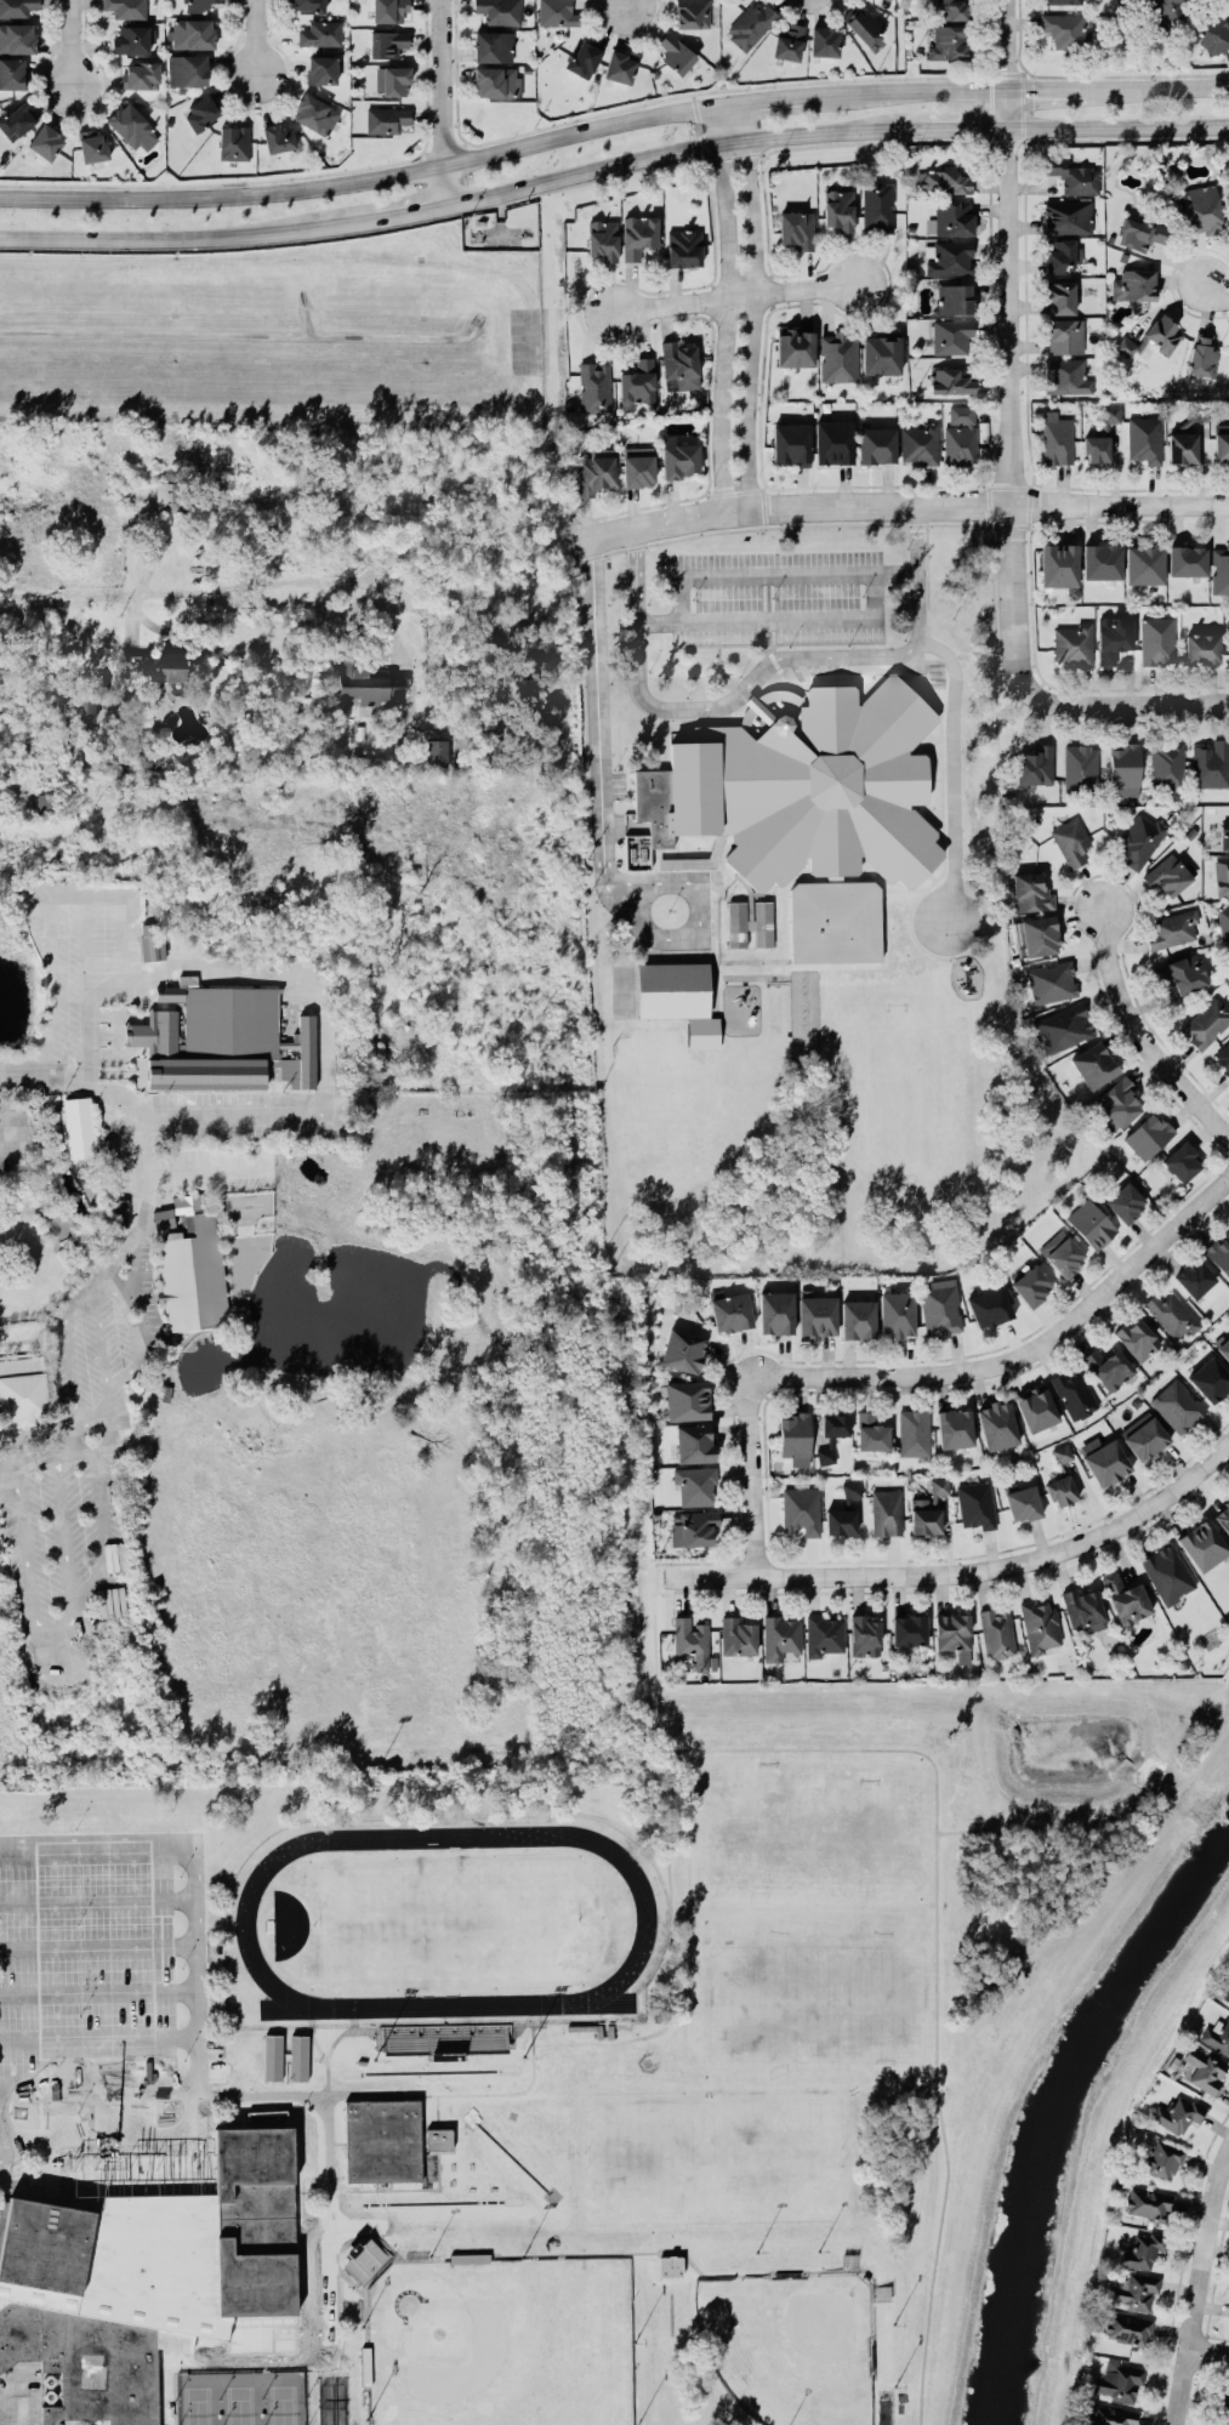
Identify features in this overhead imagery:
building: (1060, 1)
road: (624, 2)
building: (198, 5)
building: (307, 6)
building: (17, 7)
building: (126, 7)
building: (389, 10)
building: (951, 10)
building: (1167, 10)
building: (500, 11)
building: (557, 13)
building: (692, 13)
building: (750, 24)
building: (865, 24)
building: (1066, 29)
building: (320, 33)
building: (1213, 33)
building: (192, 34)
road: (256, 35)
building: (17, 38)
building: (131, 39)
road: (69, 40)
building: (787, 41)
building: (824, 41)
building: (948, 41)
building: (387, 42)
building: (493, 46)
building: (676, 53)
building: (584, 58)
building: (620, 67)
building: (187, 69)
building: (322, 69)
building: (11, 73)
building: (141, 74)
building: (392, 80)
building: (496, 81)
road: (1157, 85)
road: (1049, 87)
road: (912, 91)
road: (768, 99)
road: (439, 102)
building: (200, 113)
building: (315, 114)
building: (387, 119)
building: (16, 121)
building: (129, 124)
road: (728, 124)
road: (1120, 126)
road: (966, 129)
building: (279, 137)
building: (46, 141)
building: (234, 142)
building: (92, 144)
building: (1072, 175)
road: (365, 177)
building: (941, 180)
road: (462, 198)
building: (878, 206)
building: (1201, 207)
building: (838, 210)
building: (1066, 215)
building: (950, 217)
building: (796, 229)
building: (1140, 233)
building: (638, 235)
building: (603, 239)
building: (684, 246)
building: (1062, 255)
building: (949, 256)
road: (1213, 279)
building: (1133, 283)
road: (727, 296)
building: (954, 297)
building: (1058, 297)
road: (750, 323)
road: (723, 326)
road: (1011, 331)
building: (1161, 334)
building: (1063, 335)
building: (952, 336)
building: (795, 346)
building: (1125, 346)
building: (881, 353)
building: (838, 354)
building: (1202, 355)
building: (681, 362)
building: (1065, 375)
building: (951, 380)
building: (637, 385)
building: (594, 387)
building: (1196, 410)
building: (1111, 412)
building: (960, 434)
building: (1057, 437)
building: (1144, 439)
building: (833, 440)
building: (790, 443)
building: (918, 443)
building: (1222, 443)
building: (876, 444)
building: (1183, 448)
building: (1096, 449)
building: (677, 455)
building: (638, 466)
building: (596, 471)
building: (170, 496)
road: (1120, 503)
road: (791, 507)
building: (1102, 559)
building: (1187, 559)
building: (1144, 562)
building: (1059, 564)
building: (1219, 568)
road: (800, 573)
road: (311, 581)
road: (82, 594)
road: (875, 596)
road: (679, 598)
road: (769, 616)
road: (756, 621)
building: (1113, 638)
building: (1156, 639)
building: (1228, 641)
building: (1072, 642)
building: (1201, 648)
building: (158, 666)
road: (761, 672)
building: (364, 684)
building: (89, 696)
road: (1113, 702)
road: (598, 708)
building: (436, 751)
building: (1035, 763)
building: (1211, 763)
building: (1167, 764)
building: (1081, 768)
building: (1123, 769)
building: (804, 787)
building: (42, 803)
building: (1224, 832)
building: (1140, 837)
building: (1071, 839)
building: (1170, 875)
building: (1221, 875)
building: (1030, 892)
road: (694, 917)
building: (1223, 920)
building: (835, 921)
building: (749, 923)
building: (1174, 928)
building: (1039, 934)
building: (152, 941)
building: (1179, 973)
road: (307, 975)
building: (1052, 980)
building: (678, 998)
building: (227, 1020)
building: (1206, 1021)
building: (1063, 1026)
road: (1140, 1037)
building: (1223, 1058)
building: (1093, 1063)
building: (1116, 1103)
building: (76, 1123)
building: (1148, 1134)
building: (1182, 1161)
road: (146, 1197)
building: (1125, 1201)
building: (119, 1212)
building: (1091, 1223)
building: (1219, 1252)
building: (1065, 1256)
building: (190, 1265)
building: (1194, 1276)
building: (1031, 1283)
building: (990, 1307)
building: (940, 1310)
building: (730, 1311)
building: (775, 1311)
building: (897, 1314)
building: (1172, 1314)
building: (815, 1316)
building: (858, 1319)
building: (1137, 1337)
building: (1224, 1347)
building: (682, 1349)
building: (1109, 1366)
road: (922, 1373)
building: (1210, 1377)
building: (23, 1389)
building: (1074, 1391)
building: (687, 1400)
building: (1177, 1405)
building: (1036, 1406)
building: (833, 1423)
building: (996, 1423)
building: (954, 1428)
building: (871, 1430)
building: (914, 1431)
building: (795, 1435)
road: (72, 1436)
building: (1145, 1438)
building: (695, 1442)
building: (1062, 1452)
building: (825, 1453)
building: (1105, 1459)
building: (694, 1485)
building: (852, 1488)
building: (1059, 1490)
building: (1022, 1502)
building: (975, 1504)
building: (801, 1508)
building: (886, 1512)
building: (923, 1515)
building: (1223, 1515)
building: (840, 1521)
building: (699, 1527)
building: (1202, 1543)
road: (969, 1570)
building: (1168, 1573)
building: (1126, 1596)
building: (1083, 1609)
building: (1040, 1626)
building: (907, 1629)
building: (996, 1632)
building: (952, 1633)
building: (824, 1634)
building: (863, 1634)
building: (738, 1635)
building: (780, 1635)
building: (690, 1638)
road: (656, 1661)
road: (1132, 1829)
road: (192, 1869)
road: (96, 1902)
park: (446, 1919)
track: (647, 1919)
stadium: (439, 1935)
road: (937, 1954)
parking lot: (102, 1958)
road: (672, 1958)
road: (97, 1991)
building: (1224, 1991)
building: (1216, 2034)
road: (97, 2036)
building: (1205, 2067)
road: (97, 2084)
road: (493, 2091)
road: (286, 2094)
river: (1062, 2108)
building: (1178, 2112)
building: (439, 2139)
road: (326, 2140)
building: (383, 2140)
road: (112, 2141)
park: (713, 2156)
building: (1161, 2159)
building: (1148, 2202)
building: (1143, 2248)
building: (364, 2260)
building: (668, 2264)
building: (146, 2277)
building: (882, 2292)
building: (1134, 2292)
road: (1204, 2294)
building: (315, 2300)
building: (1127, 2328)
park: (500, 2343)
park: (791, 2345)
road: (1212, 2347)
building: (297, 2352)
building: (211, 2356)
building: (365, 2364)
building: (1119, 2381)
building: (1222, 2402)
building: (1110, 2415)

